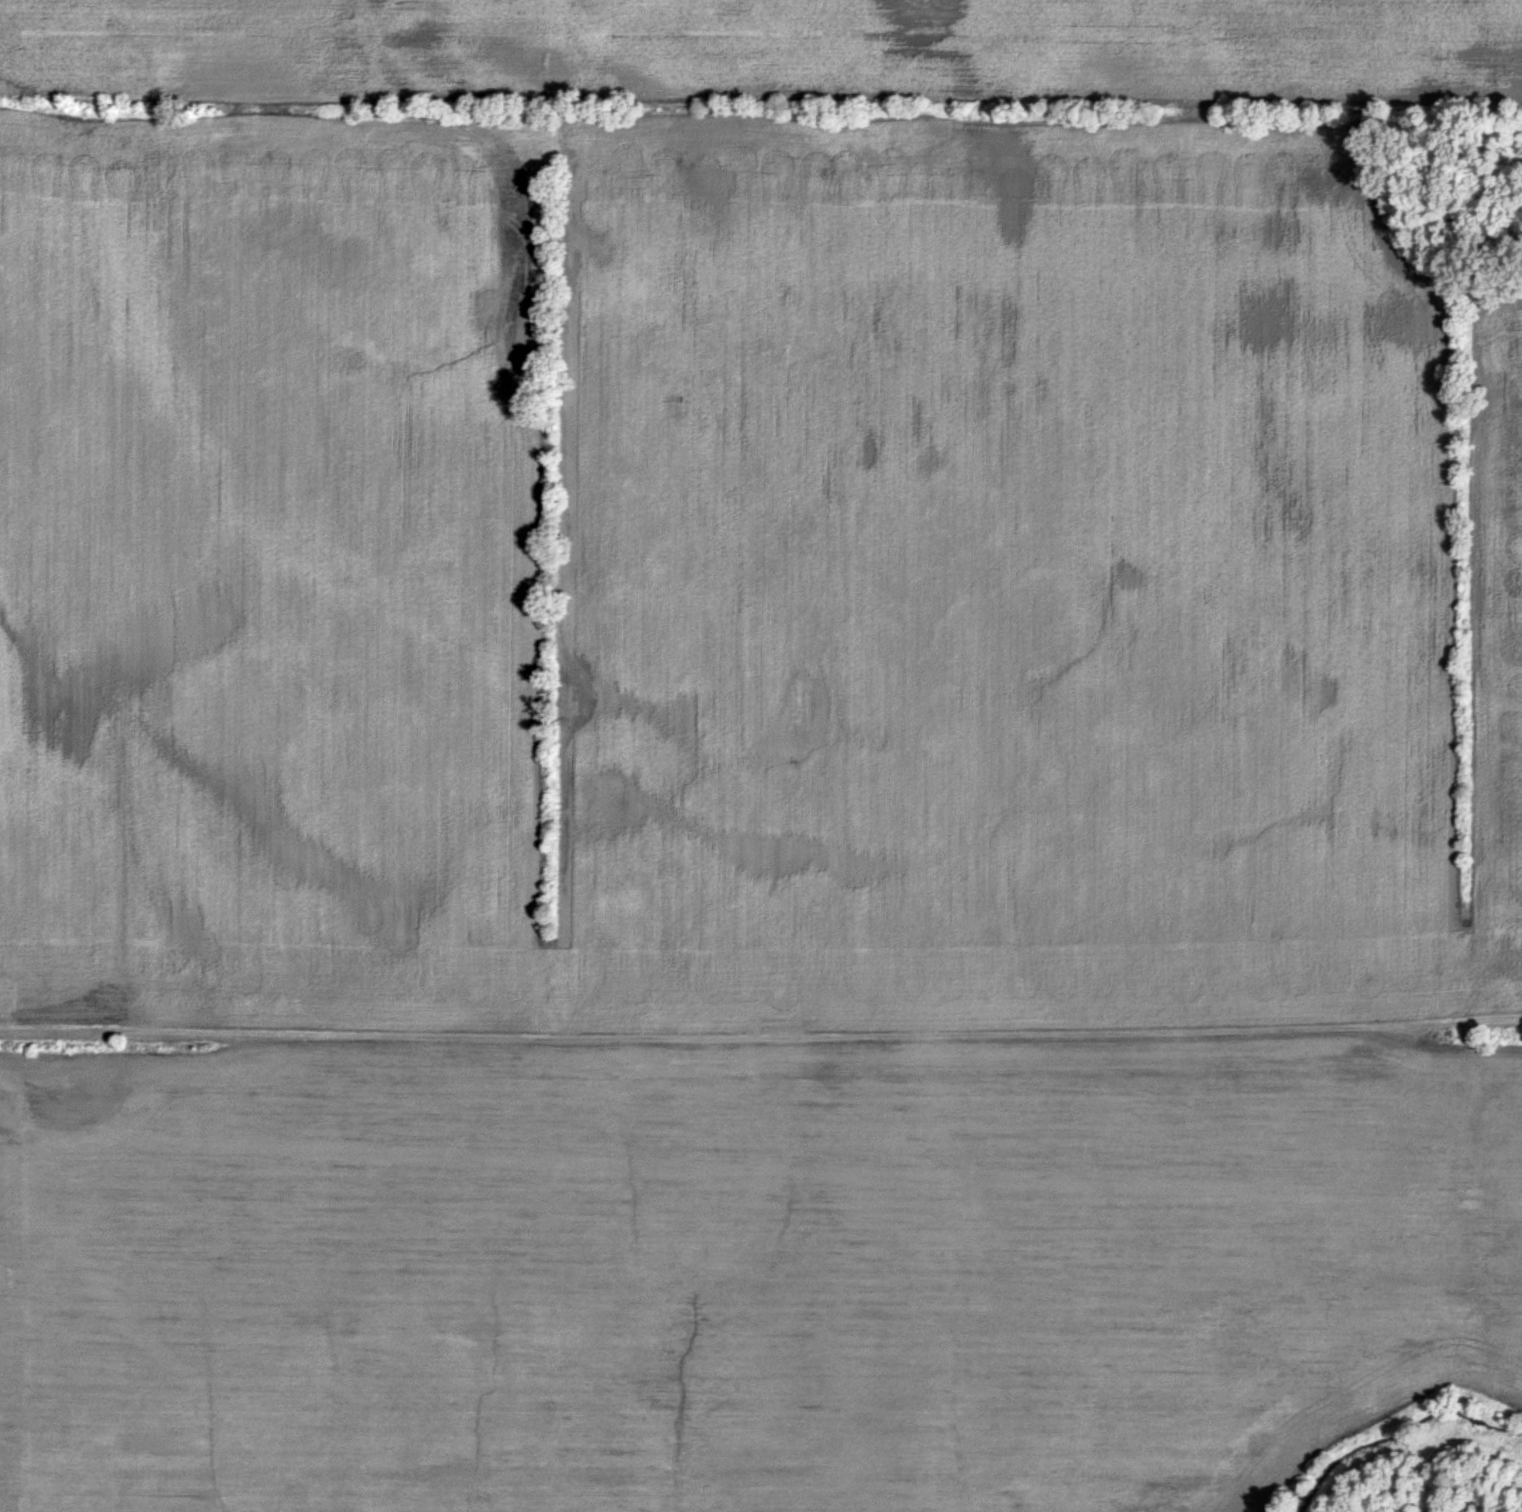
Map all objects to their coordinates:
crop: (761, 48)
crop: (756, 799)

